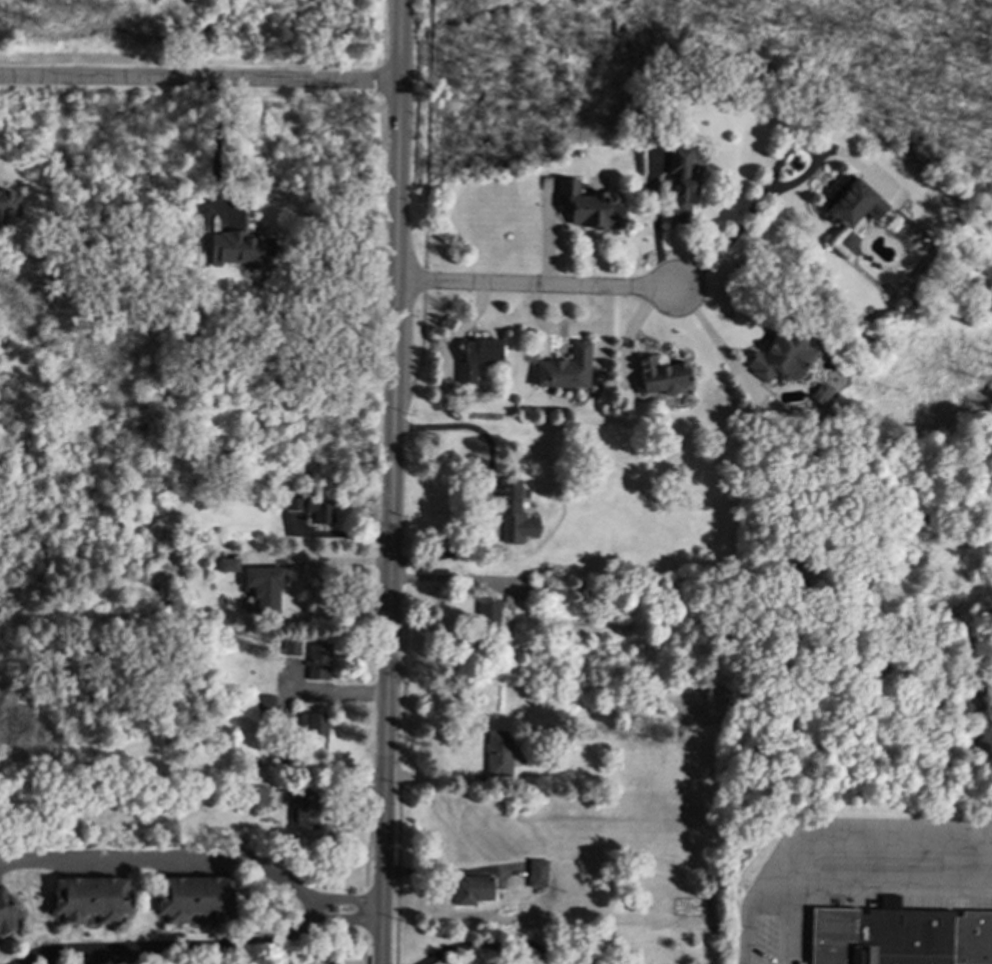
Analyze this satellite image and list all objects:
road: (199, 80)
road: (398, 103)
road: (427, 105)
road: (217, 136)
road: (765, 179)
building: (680, 184)
building: (854, 203)
building: (8, 204)
road: (425, 246)
building: (239, 247)
road: (535, 286)
road: (394, 321)
road: (716, 340)
building: (476, 357)
building: (780, 357)
road: (419, 361)
building: (564, 368)
building: (660, 376)
road: (491, 489)
building: (290, 501)
building: (320, 508)
building: (514, 511)
road: (315, 561)
building: (228, 564)
building: (264, 586)
road: (390, 592)
building: (488, 612)
building: (291, 646)
building: (318, 661)
road: (329, 692)
building: (265, 702)
building: (313, 723)
building: (499, 753)
road: (386, 766)
building: (256, 797)
road: (398, 855)
road: (199, 858)
road: (866, 862)
road: (366, 872)
building: (537, 872)
road: (383, 873)
building: (473, 889)
building: (90, 898)
building: (194, 898)
building: (6, 912)
road: (748, 922)
road: (786, 928)
building: (900, 936)
road: (460, 946)
road: (169, 948)
building: (528, 956)

